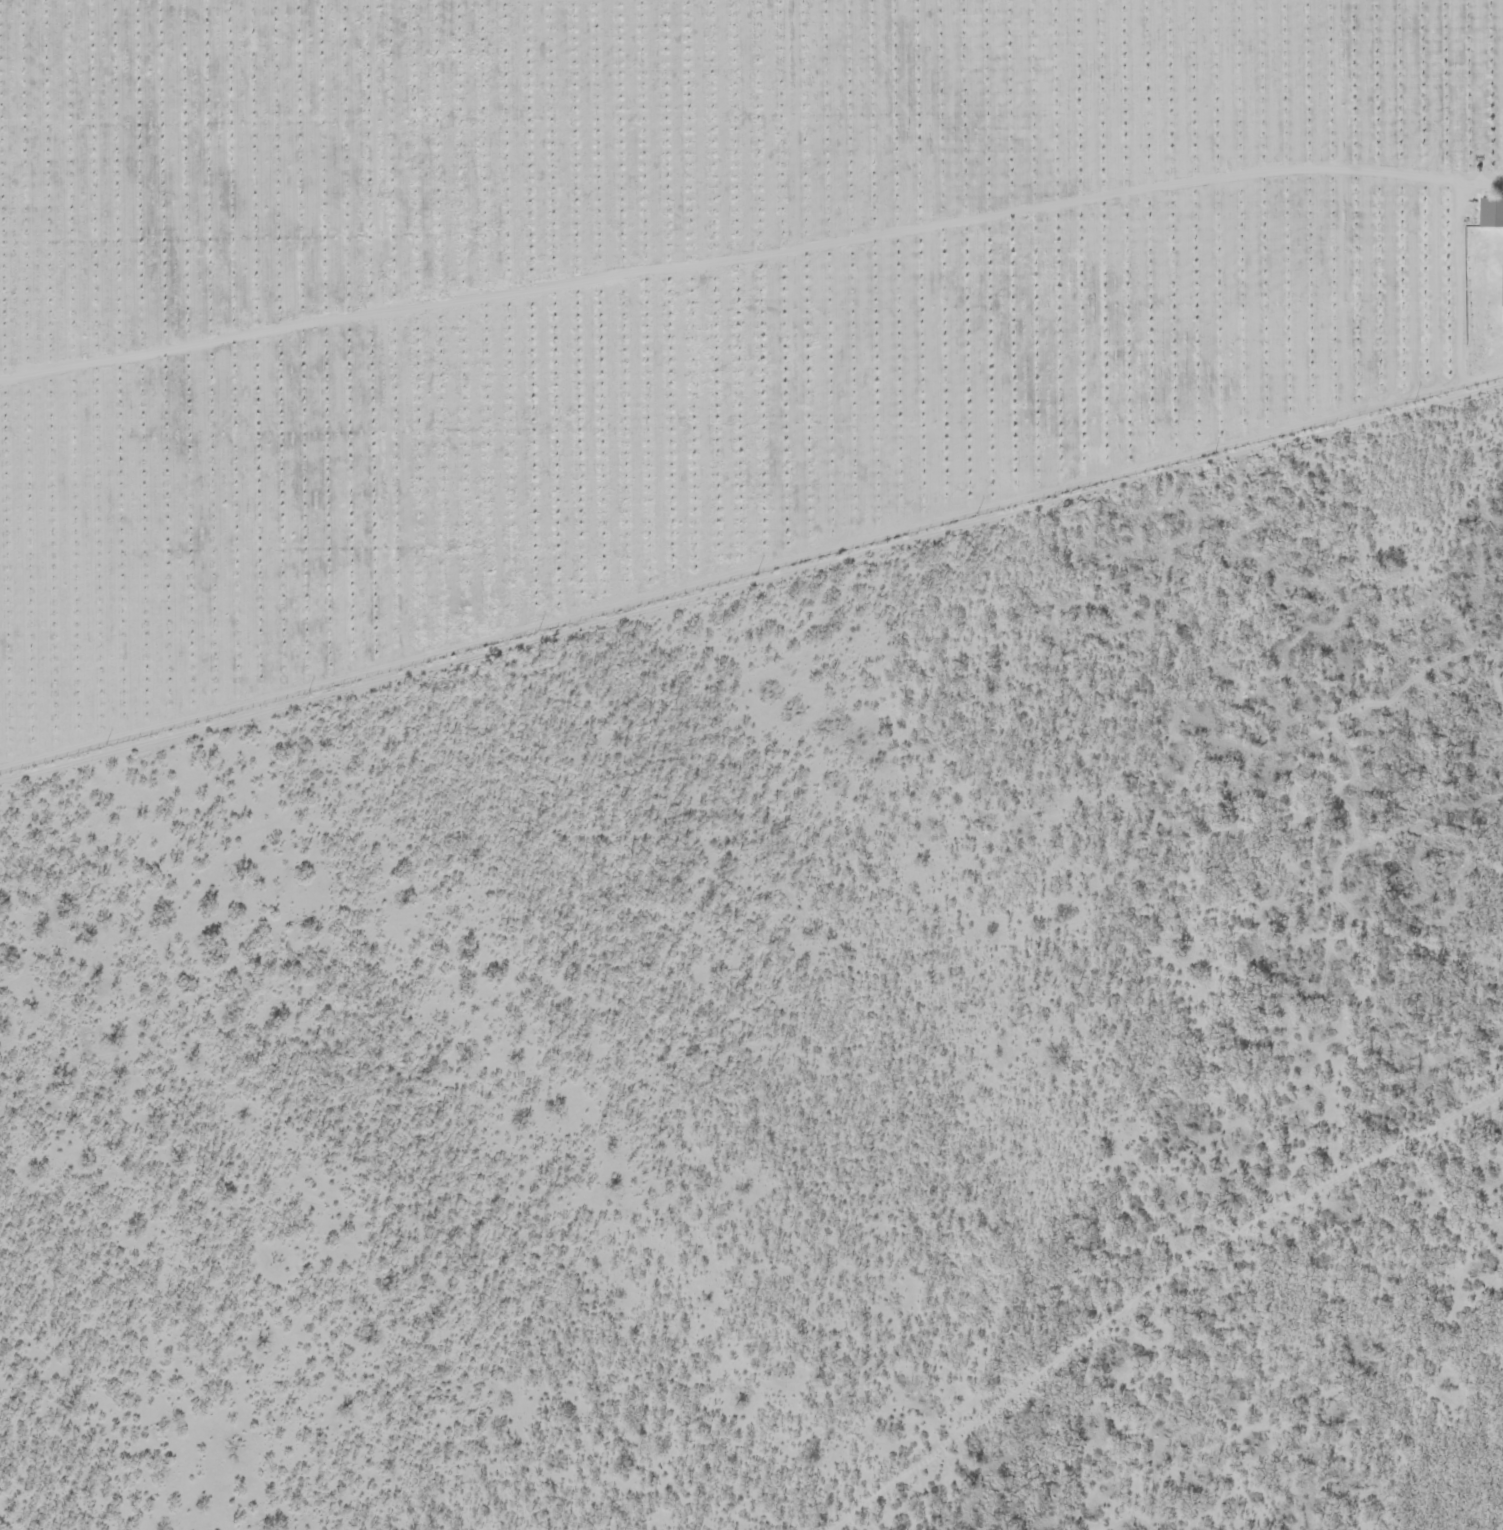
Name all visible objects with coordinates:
building: (1488, 216)

